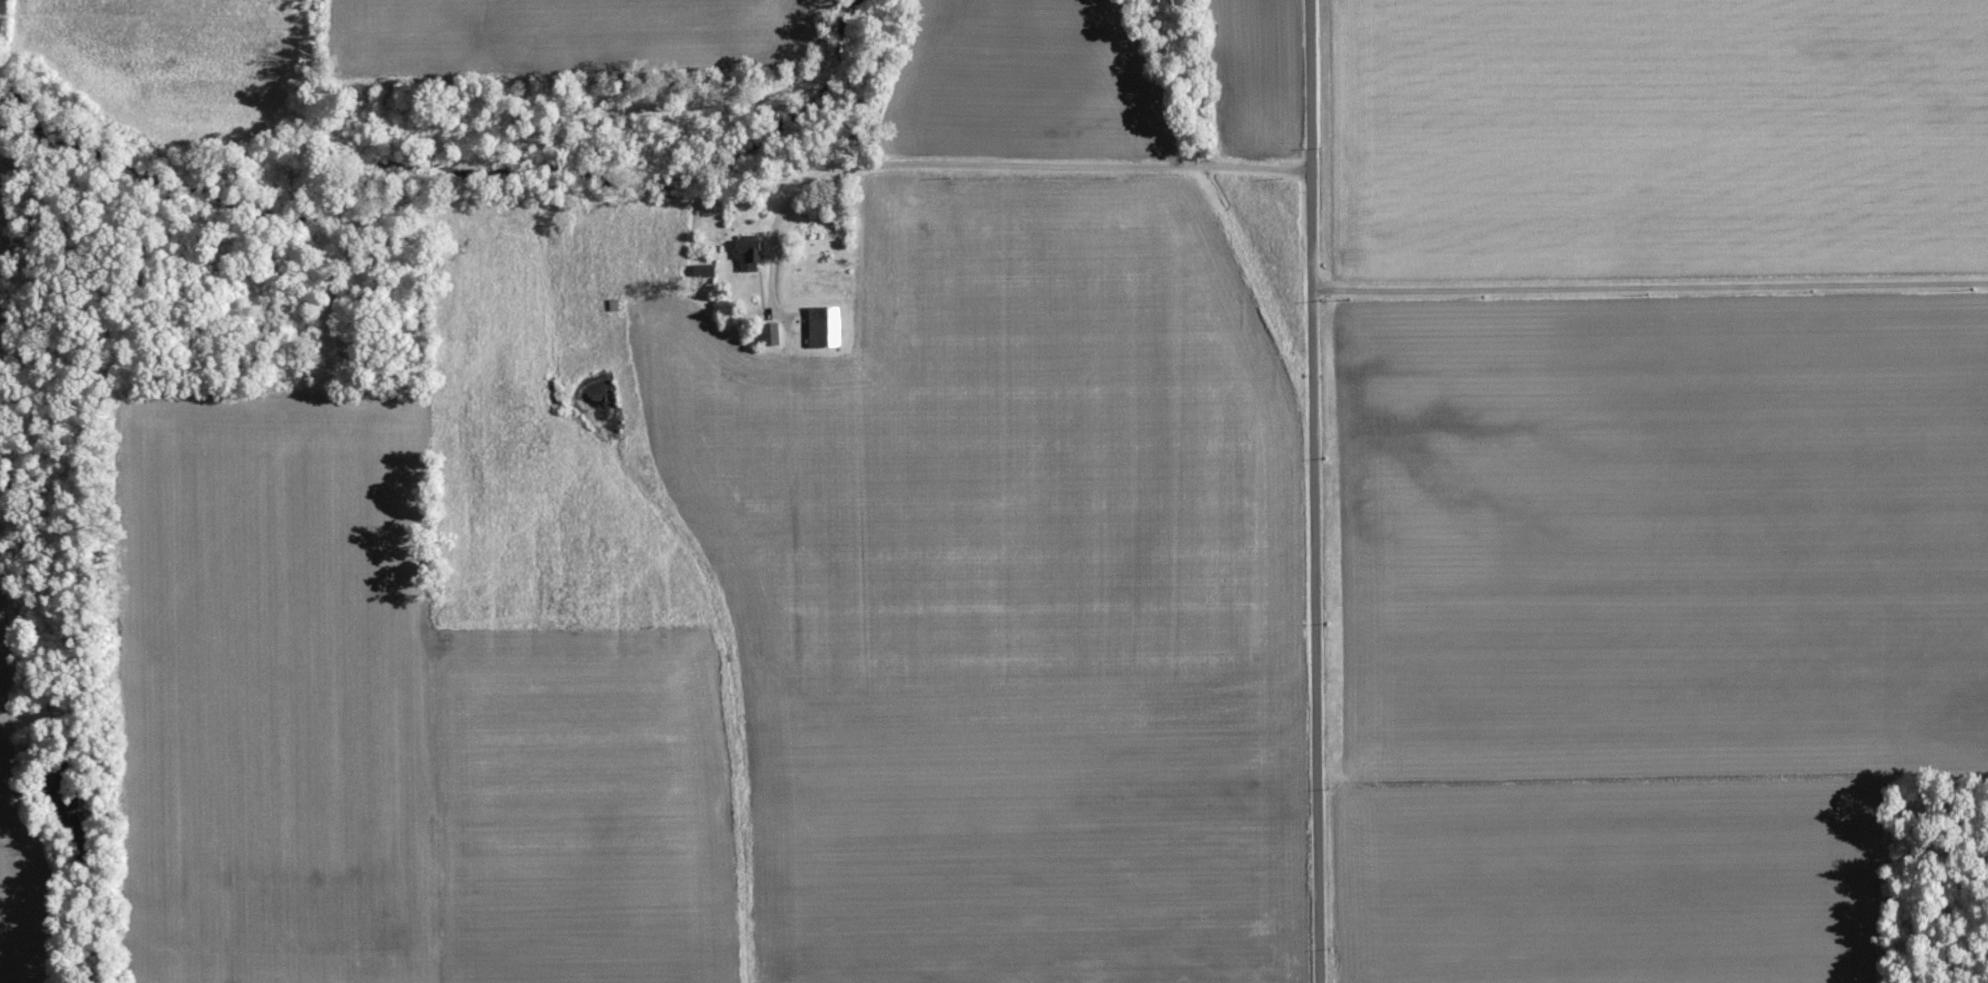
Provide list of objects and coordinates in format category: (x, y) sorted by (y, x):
road: (986, 161)
building: (746, 250)
building: (701, 268)
road: (1650, 283)
building: (822, 324)
building: (769, 332)
road: (1314, 491)

